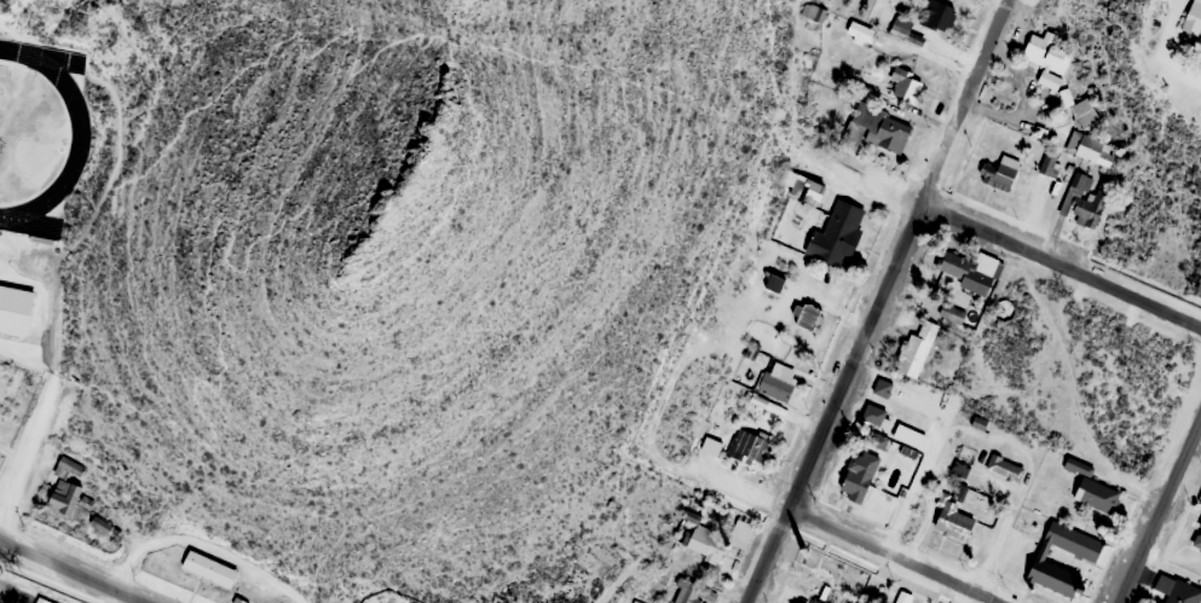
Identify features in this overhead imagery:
building: (937, 15)
building: (1194, 22)
building: (900, 27)
building: (861, 33)
building: (1046, 52)
road: (1166, 54)
building: (906, 83)
building: (1084, 112)
track: (34, 124)
building: (880, 127)
building: (1093, 150)
building: (999, 173)
building: (792, 181)
building: (1081, 182)
building: (814, 190)
building: (1087, 207)
building: (837, 234)
road: (432, 238)
road: (1064, 259)
building: (970, 271)
road: (879, 303)
building: (917, 347)
building: (775, 387)
building: (882, 388)
building: (873, 414)
building: (711, 441)
building: (747, 447)
road: (29, 454)
building: (1004, 468)
building: (858, 475)
building: (64, 488)
building: (1092, 488)
road: (1160, 508)
building: (952, 520)
building: (740, 534)
building: (1196, 539)
building: (704, 544)
building: (1085, 552)
road: (893, 557)
building: (209, 568)
road: (71, 570)
building: (1177, 590)
building: (685, 596)
building: (44, 601)
building: (815, 602)

